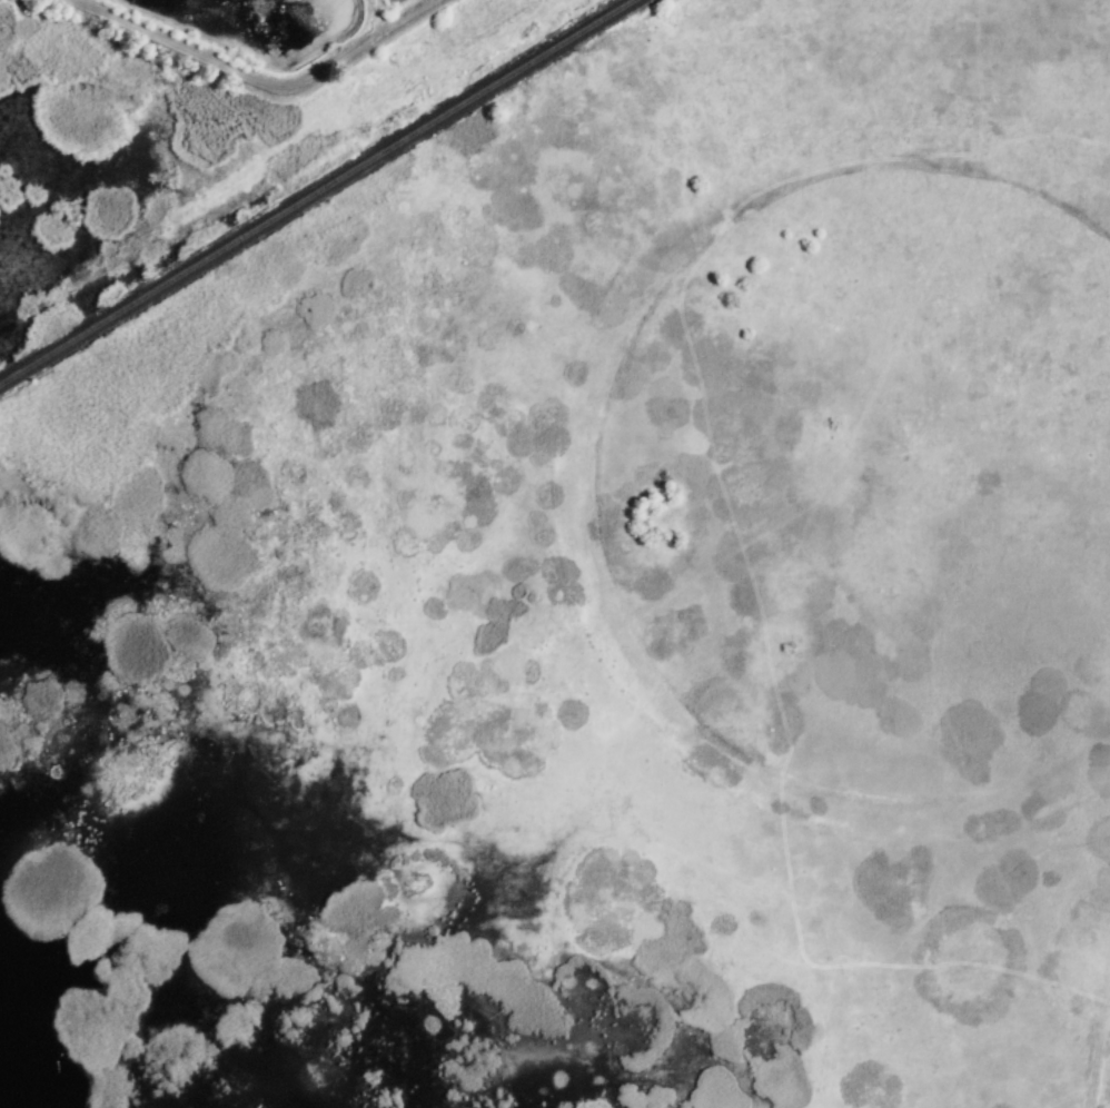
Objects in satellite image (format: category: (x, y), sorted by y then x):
wastewater plant: (261, 26)
railway: (316, 192)

